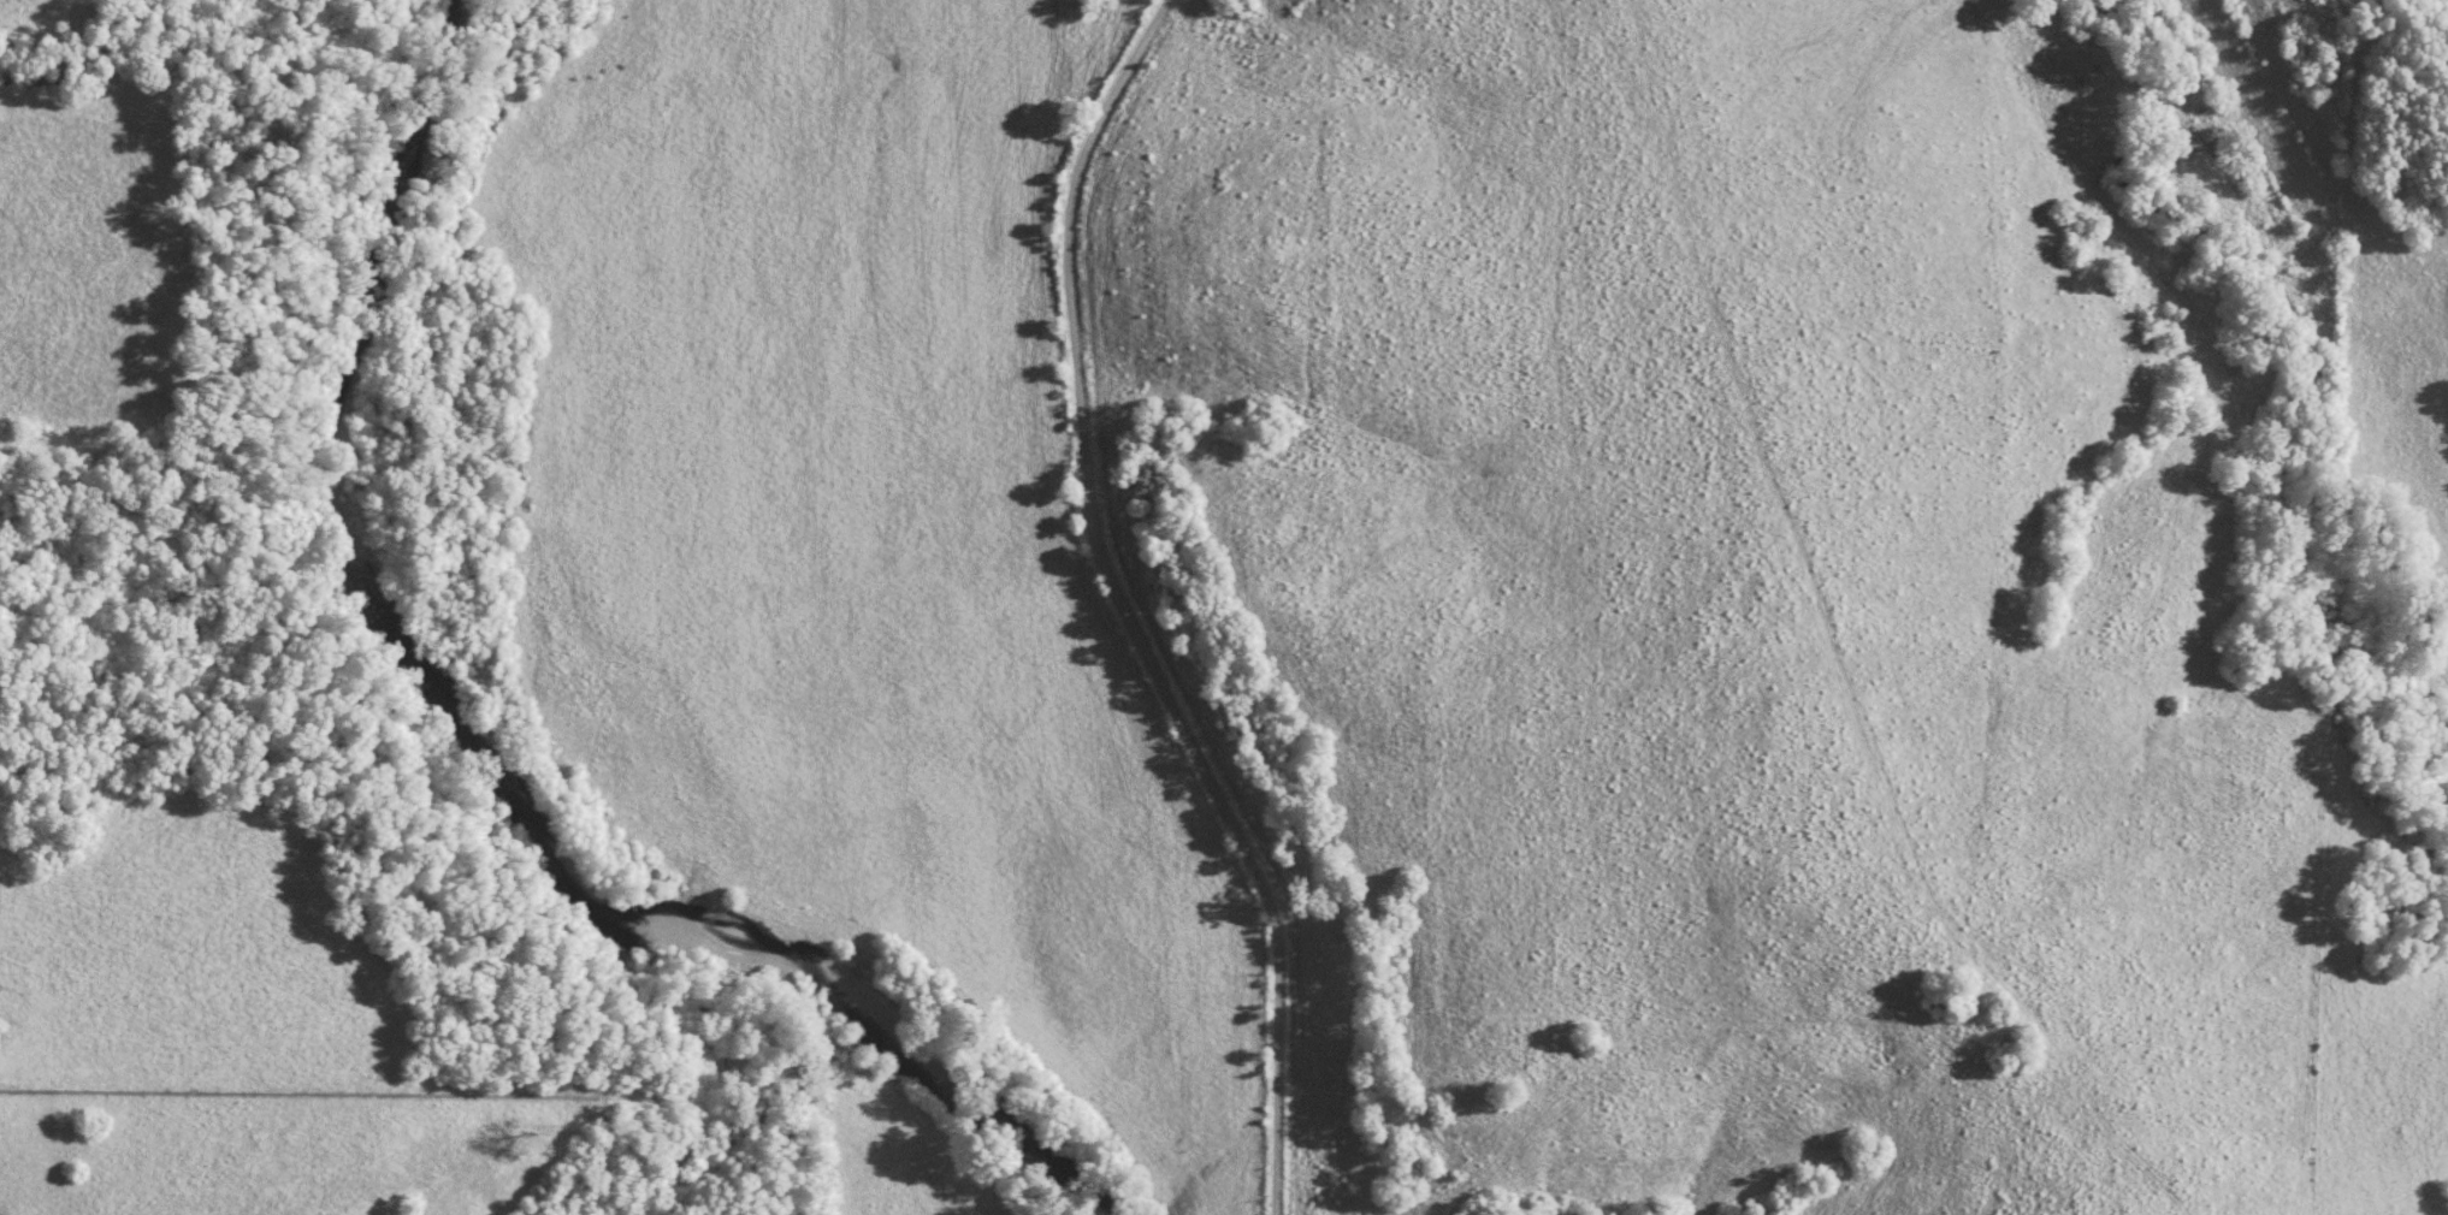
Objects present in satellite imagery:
road: (1129, 609)

